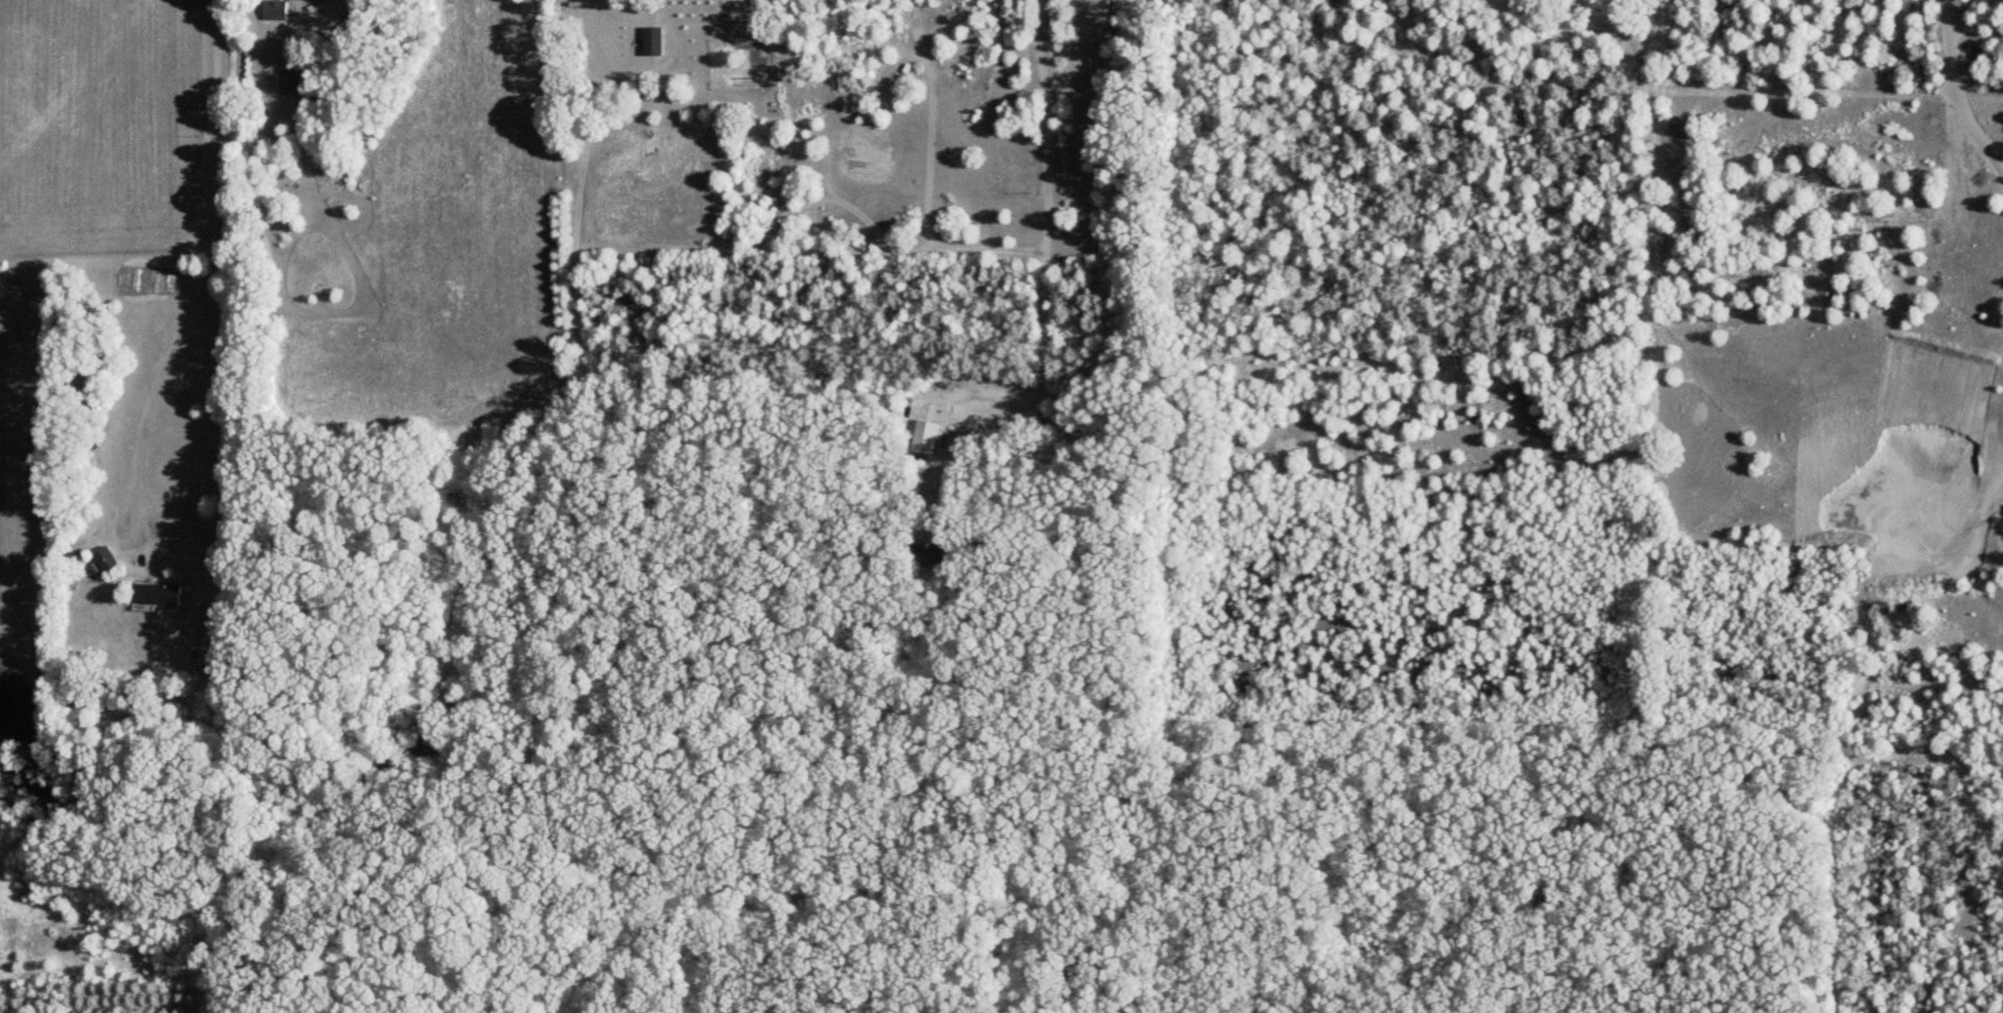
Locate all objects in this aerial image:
building: (275, 10)
building: (653, 41)
road: (931, 134)
road: (766, 239)
road: (207, 264)
road: (1047, 276)
building: (931, 554)
building: (106, 559)
building: (153, 594)

